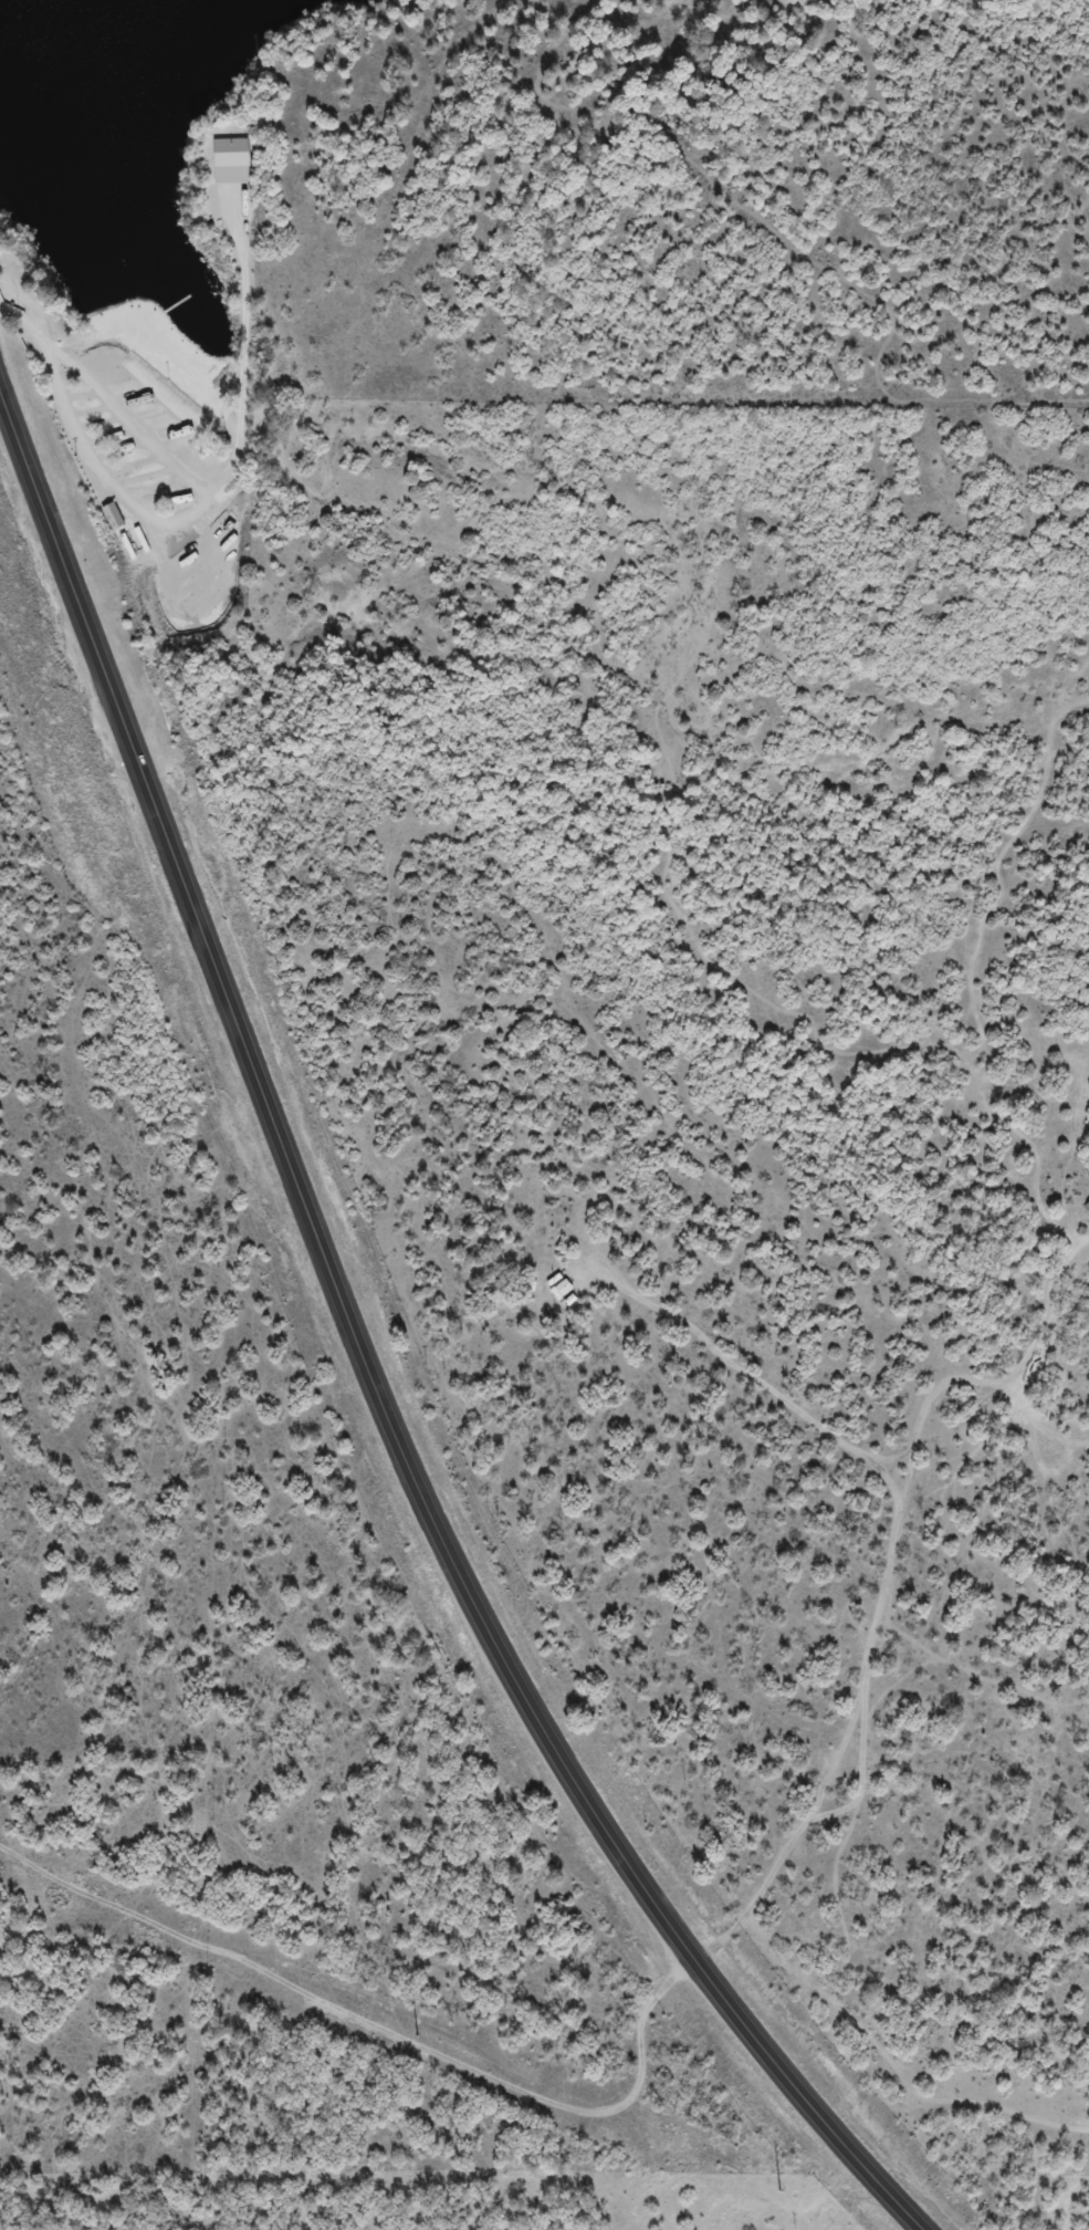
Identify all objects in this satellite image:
building: (231, 161)
road: (217, 478)
building: (113, 518)
road: (359, 1361)
road: (375, 2046)

